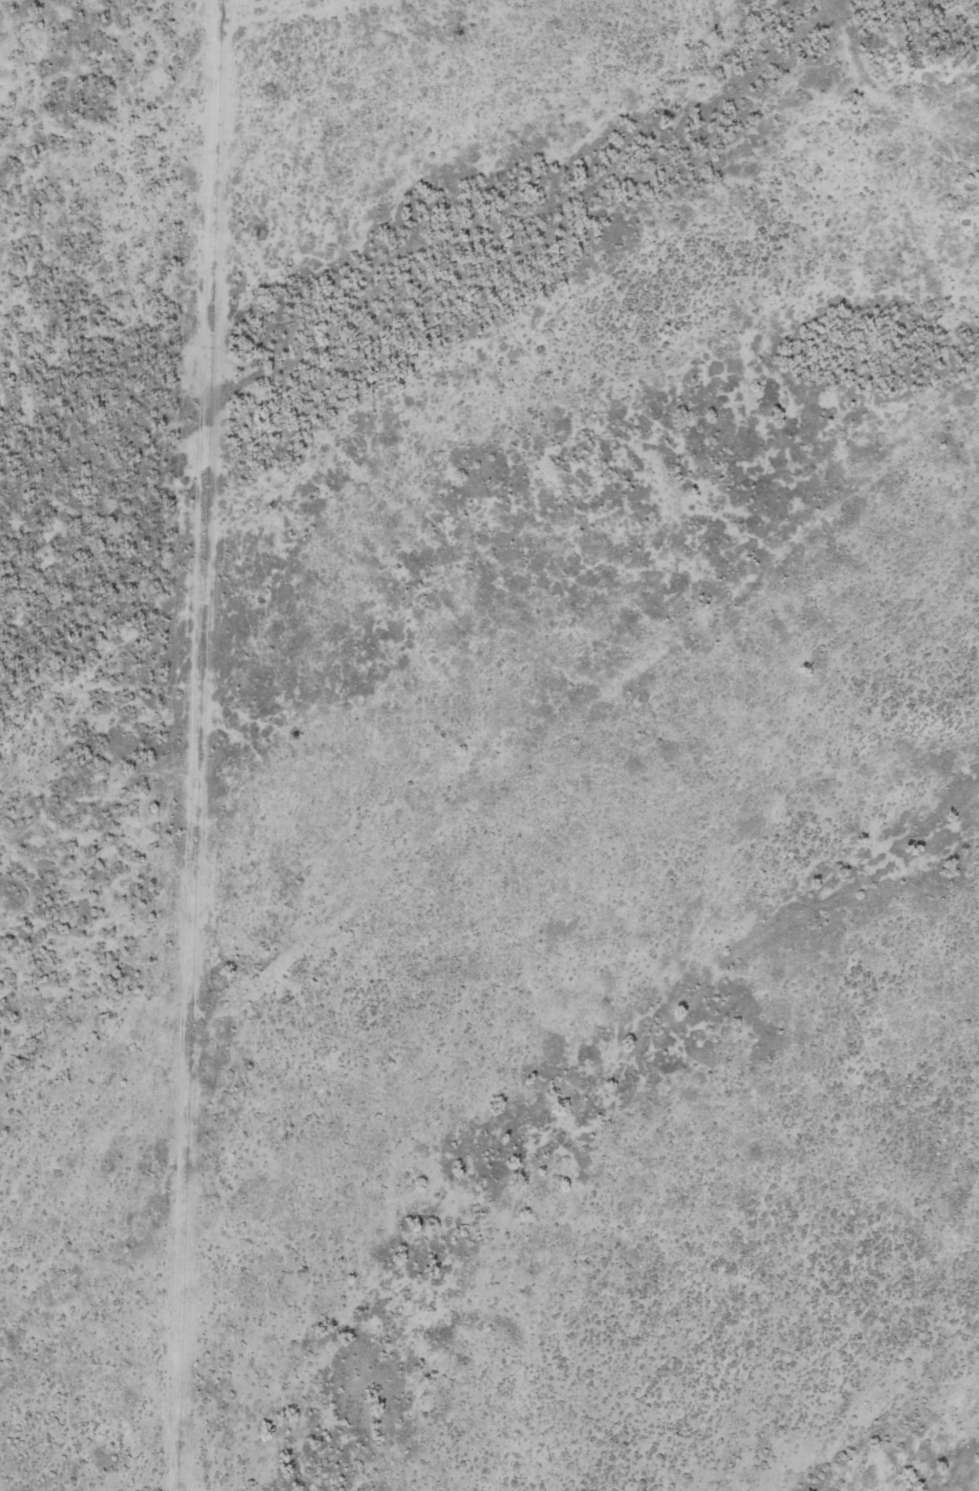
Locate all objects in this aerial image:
road: (198, 745)
road: (0, 1490)

